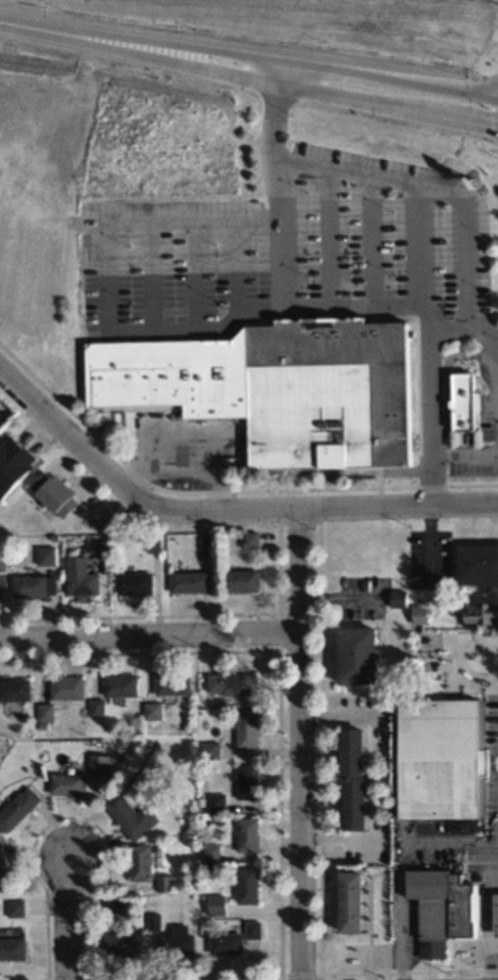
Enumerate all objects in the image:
road: (48, 32)
road: (297, 69)
road: (280, 75)
road: (297, 87)
road: (327, 239)
road: (371, 242)
road: (353, 306)
road: (178, 328)
building: (273, 389)
road: (494, 391)
building: (460, 402)
building: (11, 464)
road: (430, 478)
building: (54, 498)
road: (223, 508)
building: (44, 557)
building: (1, 562)
building: (476, 565)
building: (77, 579)
building: (239, 582)
building: (186, 583)
building: (131, 585)
building: (30, 587)
building: (479, 614)
road: (149, 636)
building: (353, 657)
building: (170, 685)
building: (229, 685)
building: (117, 686)
building: (64, 688)
building: (12, 694)
building: (94, 708)
building: (150, 712)
building: (42, 713)
building: (244, 730)
road: (300, 743)
building: (207, 751)
building: (89, 763)
building: (439, 764)
building: (350, 780)
building: (244, 783)
building: (63, 785)
building: (16, 809)
building: (128, 818)
building: (245, 835)
road: (402, 863)
building: (137, 864)
building: (1, 879)
building: (163, 885)
building: (244, 888)
building: (347, 903)
building: (213, 907)
building: (20, 909)
building: (439, 910)
building: (495, 916)
road: (64, 920)
road: (491, 926)
building: (173, 943)
building: (223, 945)
road: (495, 946)
building: (118, 947)
building: (11, 950)

